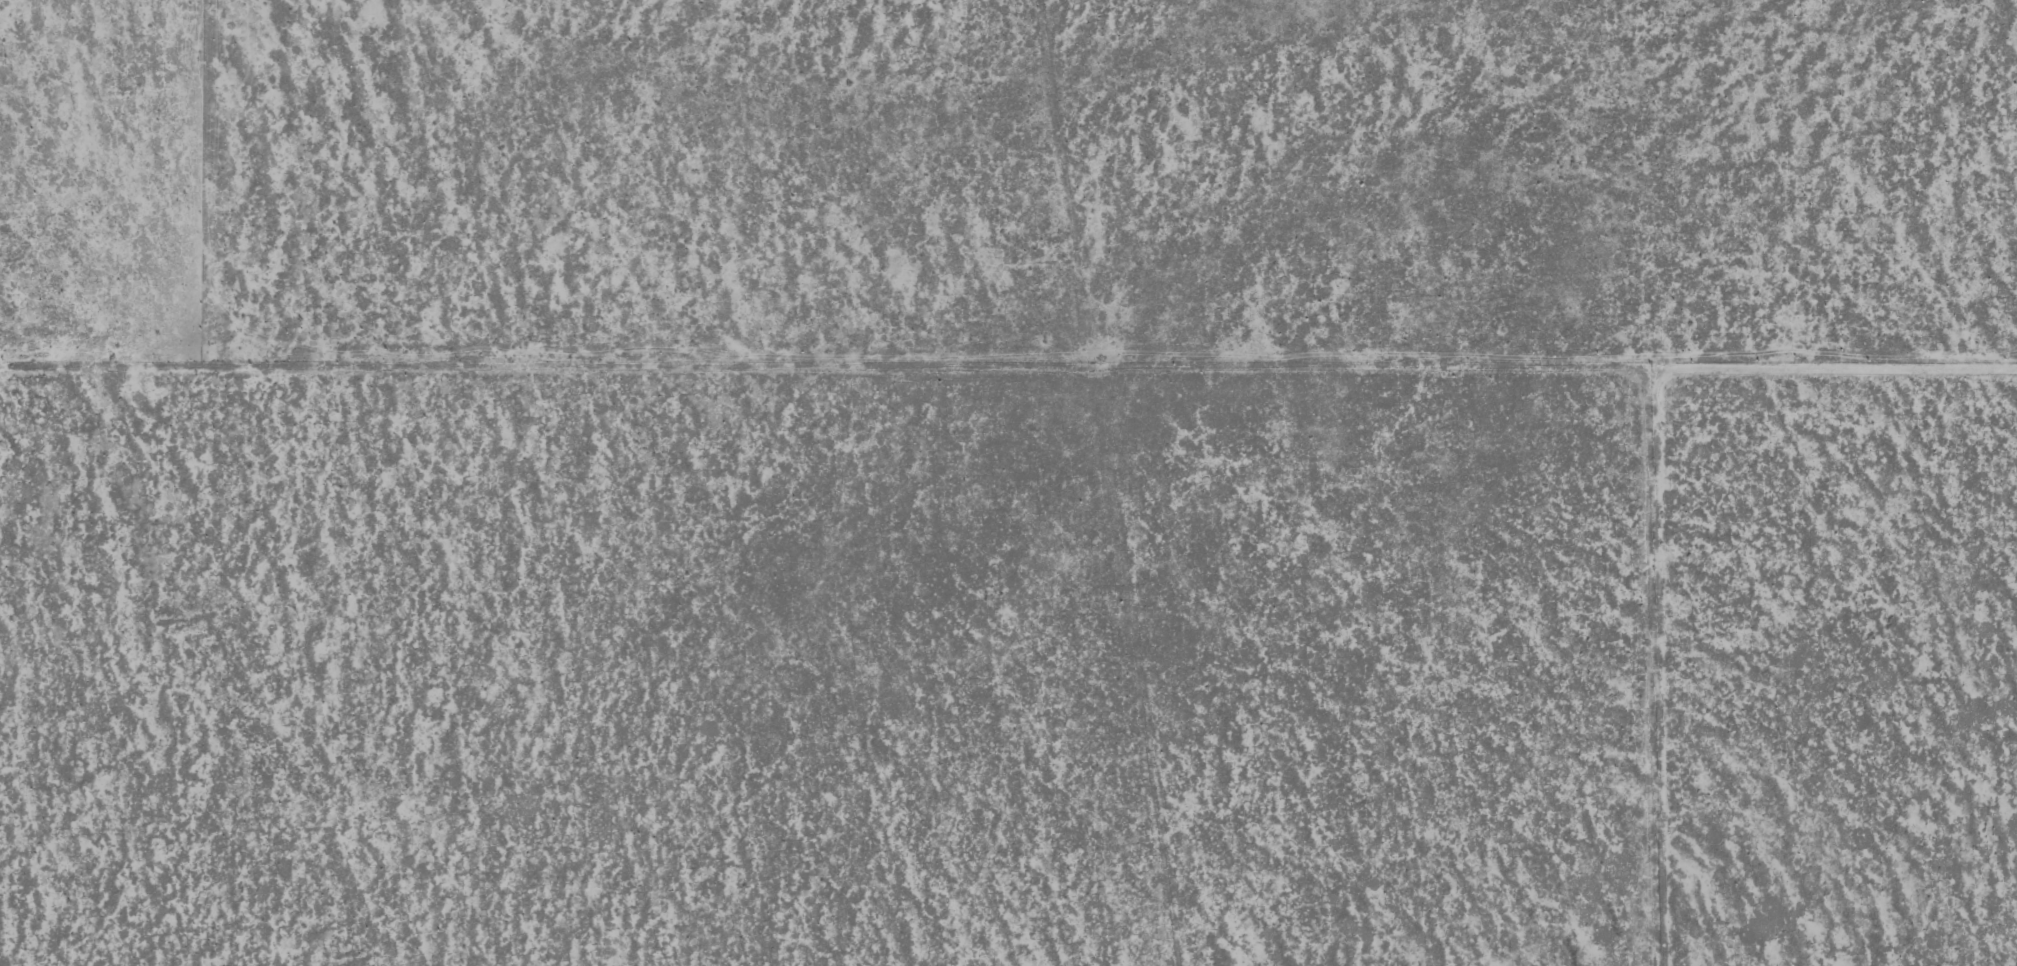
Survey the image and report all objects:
road: (1008, 397)
road: (1096, 482)
road: (1621, 681)

